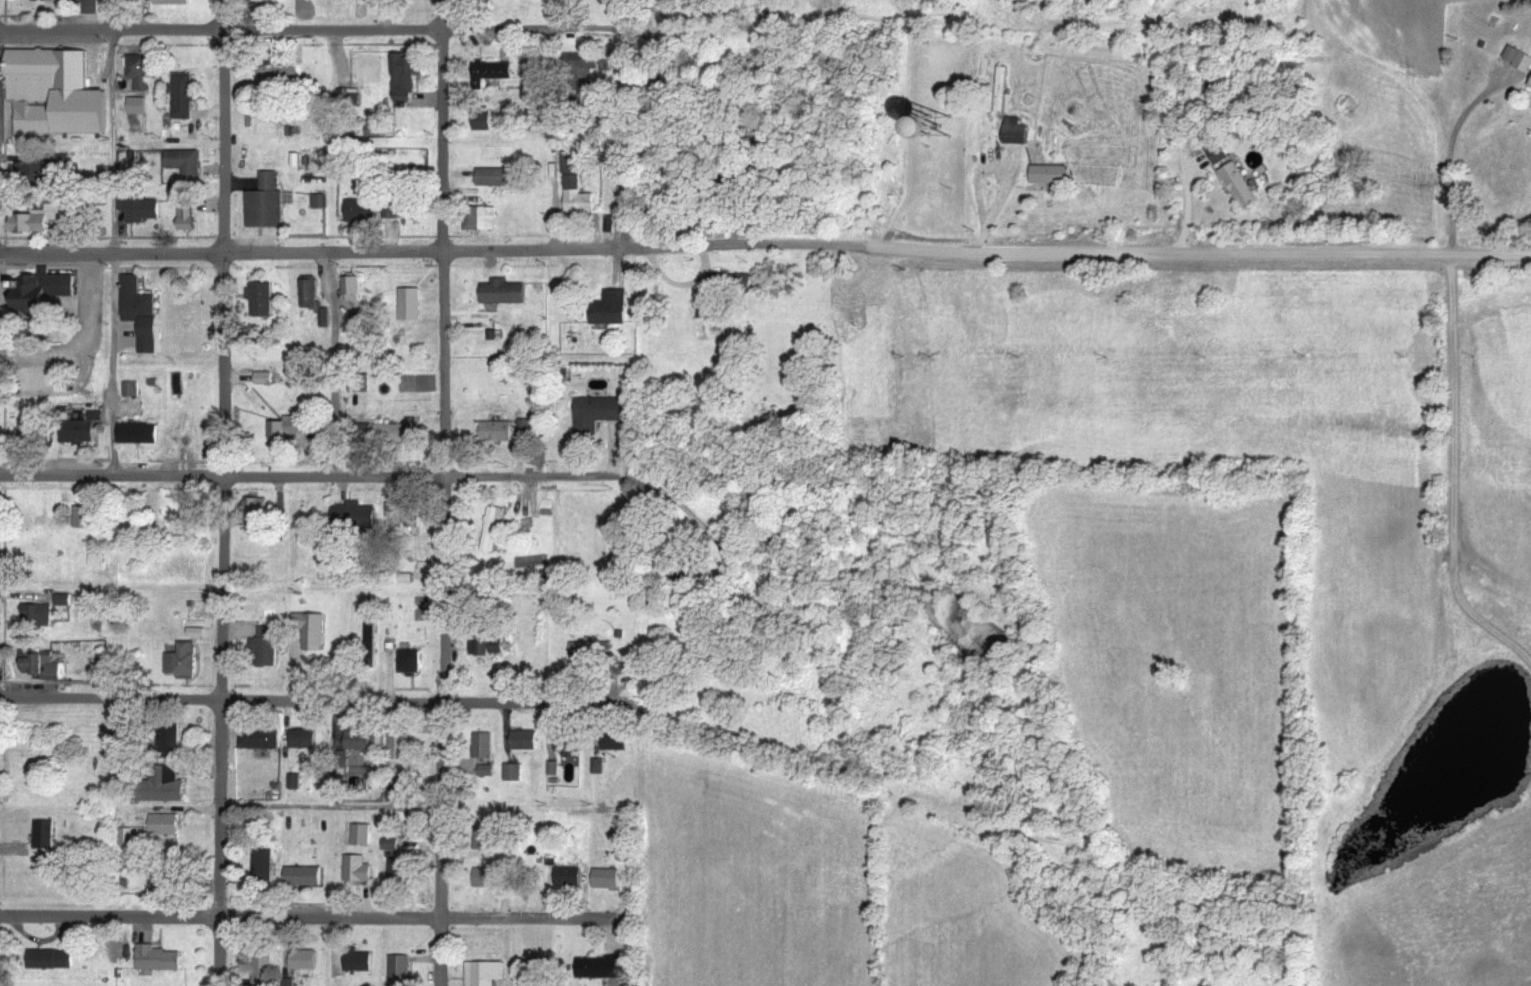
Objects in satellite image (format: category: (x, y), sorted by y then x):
building: (53, 1)
building: (173, 2)
road: (374, 32)
building: (1519, 59)
building: (584, 66)
building: (490, 72)
building: (142, 73)
building: (406, 77)
building: (1003, 90)
building: (56, 95)
building: (184, 97)
building: (138, 107)
building: (484, 122)
building: (957, 129)
building: (1018, 133)
building: (1220, 154)
road: (1450, 156)
building: (185, 163)
building: (33, 168)
building: (1052, 176)
building: (493, 178)
building: (1241, 187)
building: (577, 188)
building: (319, 202)
building: (267, 204)
building: (142, 210)
building: (187, 212)
building: (364, 212)
building: (391, 215)
building: (40, 220)
building: (484, 220)
road: (114, 238)
road: (765, 251)
building: (735, 282)
building: (354, 290)
building: (45, 292)
building: (505, 294)
building: (262, 300)
building: (136, 301)
building: (316, 302)
building: (411, 305)
building: (612, 310)
building: (149, 336)
road: (330, 361)
building: (265, 379)
building: (133, 390)
building: (602, 414)
building: (31, 428)
building: (288, 430)
building: (498, 432)
building: (79, 433)
building: (396, 434)
building: (140, 435)
road: (1454, 473)
road: (388, 474)
road: (222, 492)
road: (442, 492)
building: (356, 517)
building: (494, 531)
building: (65, 601)
building: (39, 616)
building: (313, 632)
building: (371, 632)
building: (489, 647)
building: (267, 648)
building: (591, 653)
building: (184, 663)
building: (411, 663)
building: (43, 667)
road: (325, 698)
building: (305, 740)
building: (171, 741)
building: (261, 741)
building: (525, 741)
building: (365, 742)
building: (567, 744)
building: (616, 745)
building: (401, 746)
building: (485, 747)
building: (599, 767)
building: (555, 770)
building: (515, 774)
building: (296, 782)
building: (164, 787)
building: (165, 825)
building: (45, 836)
building: (362, 836)
building: (391, 846)
building: (263, 867)
building: (359, 871)
building: (400, 871)
building: (305, 878)
building: (570, 878)
building: (491, 880)
building: (608, 880)
road: (297, 919)
building: (52, 961)
building: (159, 961)
building: (305, 962)
building: (360, 964)
building: (602, 968)
building: (263, 970)
building: (401, 971)
building: (485, 973)

